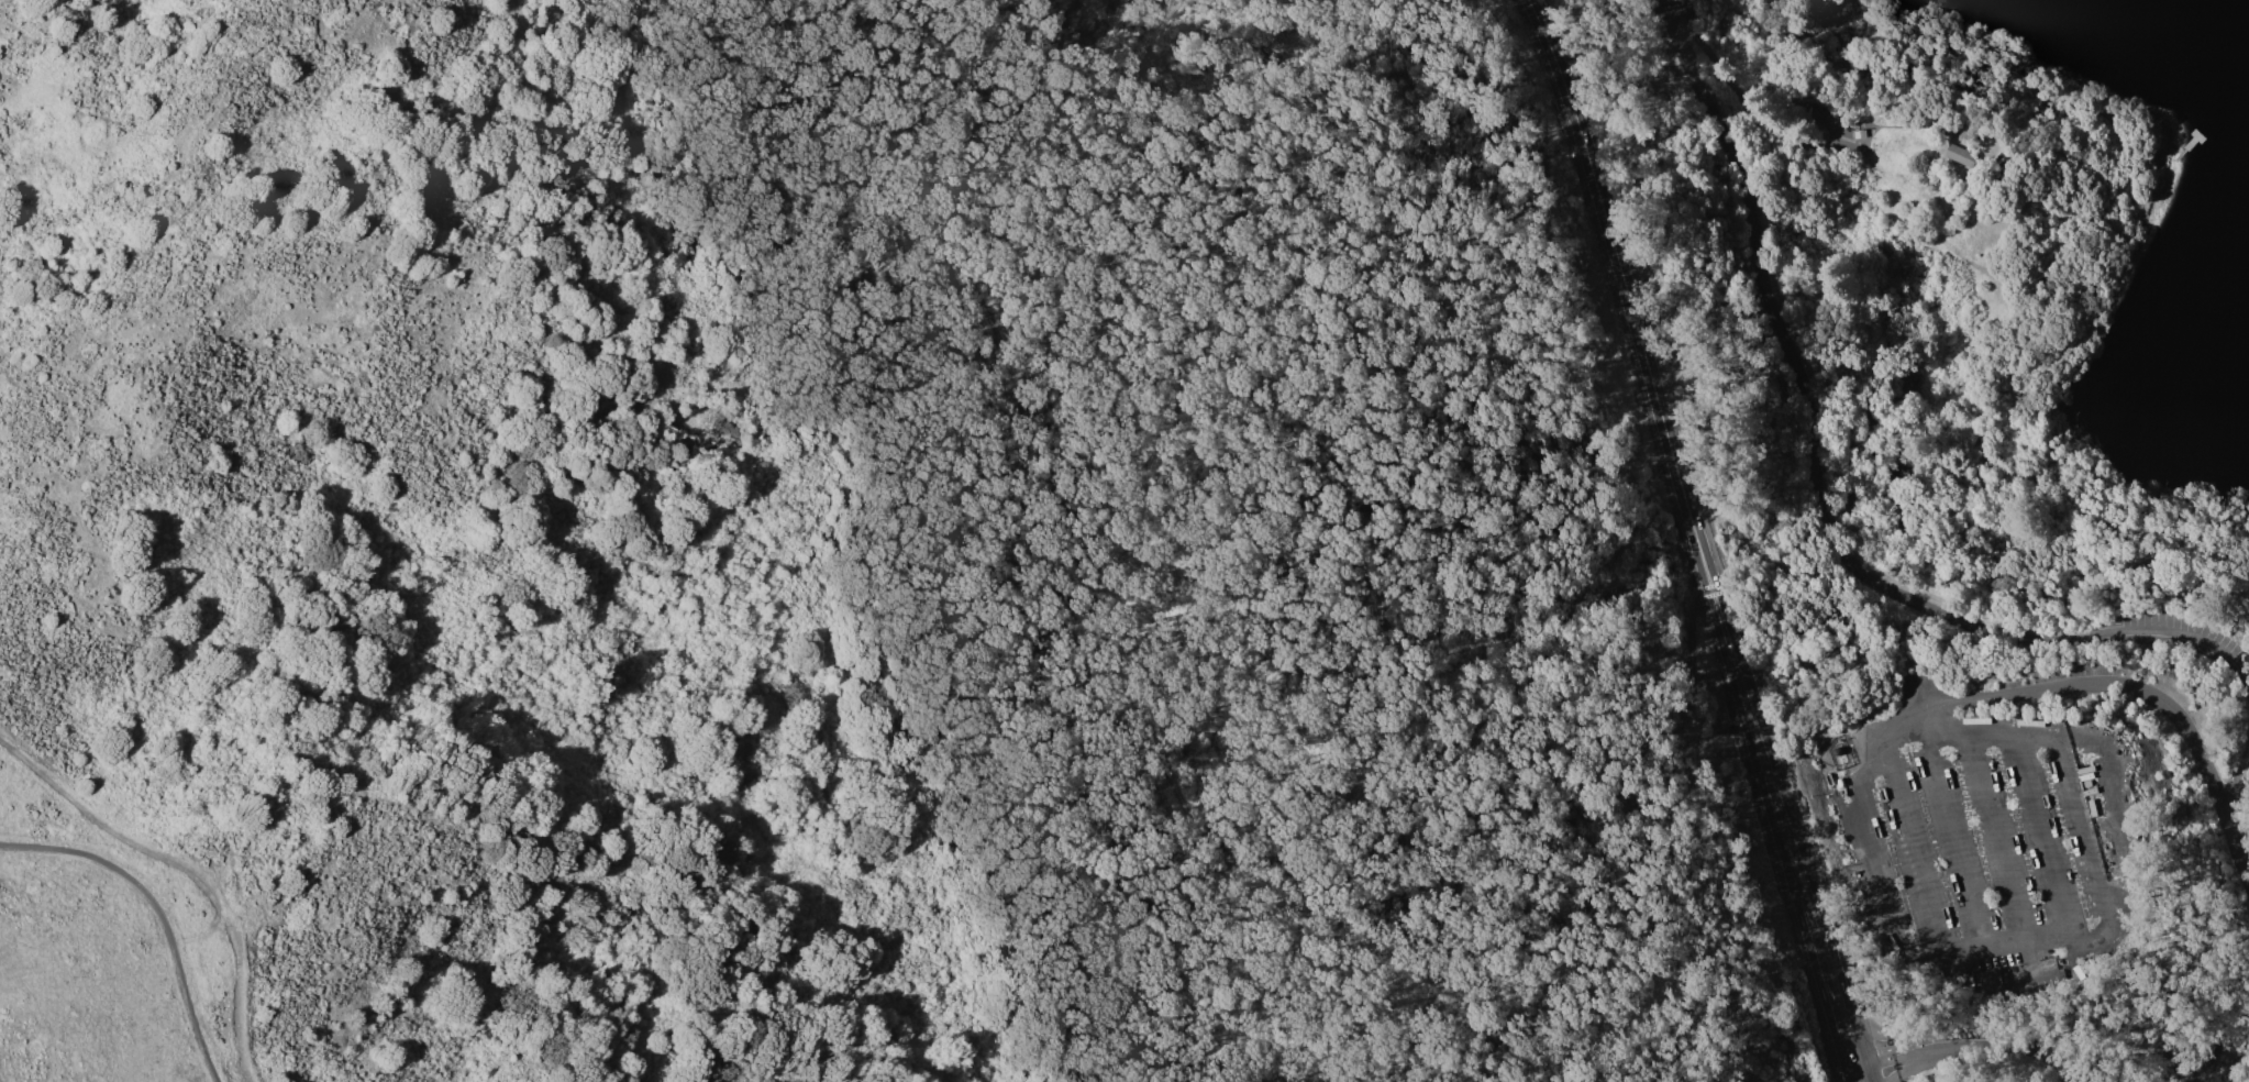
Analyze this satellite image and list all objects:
road: (1754, 81)
building: (1960, 155)
road: (1758, 270)
road: (1130, 530)
road: (1700, 539)
road: (2051, 637)
parking lot: (2230, 647)
road: (1592, 743)
road: (2124, 820)
road: (2048, 839)
road: (1997, 843)
road: (1908, 847)
road: (1957, 847)
parking lot: (1993, 861)
road: (188, 872)
road: (1884, 908)
road: (156, 914)
road: (2236, 923)
building: (1990, 980)
road: (1971, 1042)

